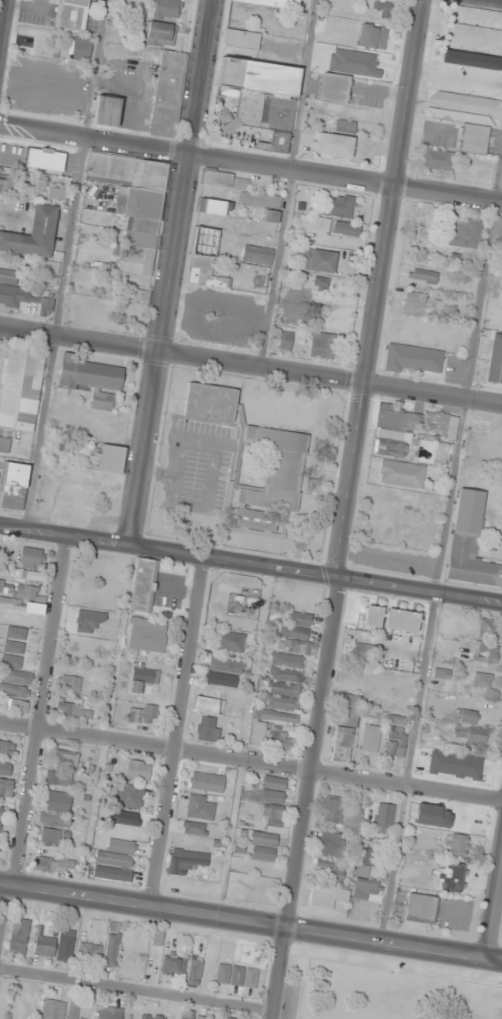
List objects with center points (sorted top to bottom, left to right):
building: (273, 3)
road: (0, 4)
building: (166, 9)
building: (382, 9)
building: (72, 14)
building: (476, 15)
building: (156, 33)
building: (373, 37)
building: (473, 38)
building: (241, 39)
building: (81, 49)
building: (467, 58)
building: (335, 88)
building: (168, 94)
building: (467, 100)
building: (107, 112)
building: (346, 126)
building: (468, 130)
building: (333, 145)
building: (46, 160)
building: (437, 160)
road: (250, 163)
building: (217, 179)
road: (287, 182)
building: (262, 204)
building: (133, 206)
building: (336, 206)
building: (213, 207)
building: (346, 229)
building: (33, 234)
building: (464, 235)
building: (257, 255)
building: (316, 260)
road: (63, 265)
building: (203, 272)
road: (168, 273)
building: (424, 275)
road: (376, 288)
building: (22, 295)
building: (501, 300)
road: (216, 301)
building: (414, 304)
parking lot: (221, 316)
building: (99, 318)
road: (212, 329)
building: (285, 340)
building: (322, 345)
building: (413, 358)
building: (495, 359)
road: (251, 363)
building: (88, 374)
building: (19, 386)
building: (103, 402)
building: (210, 402)
building: (416, 421)
building: (4, 444)
building: (392, 447)
building: (111, 459)
building: (401, 474)
building: (269, 480)
building: (13, 484)
building: (198, 524)
road: (63, 538)
building: (469, 543)
road: (440, 548)
building: (32, 557)
road: (314, 574)
building: (31, 576)
traffic signals: (343, 579)
building: (143, 586)
building: (20, 591)
building: (21, 606)
building: (372, 616)
building: (401, 620)
building: (296, 627)
building: (488, 627)
building: (147, 635)
building: (15, 640)
building: (230, 641)
building: (361, 652)
building: (298, 653)
building: (485, 653)
building: (13, 661)
building: (226, 665)
building: (440, 673)
building: (285, 675)
building: (143, 677)
building: (225, 680)
building: (482, 680)
building: (17, 683)
building: (69, 683)
building: (284, 689)
building: (281, 703)
building: (206, 705)
building: (73, 711)
building: (144, 714)
building: (466, 716)
building: (344, 728)
building: (208, 729)
road: (178, 732)
building: (473, 734)
building: (257, 735)
building: (370, 738)
building: (395, 740)
building: (281, 741)
road: (34, 746)
building: (7, 747)
road: (315, 753)
building: (67, 759)
road: (251, 760)
building: (5, 767)
building: (139, 771)
building: (58, 778)
building: (207, 782)
building: (6, 788)
building: (273, 790)
building: (130, 797)
building: (59, 801)
building: (200, 807)
building: (341, 814)
building: (0, 815)
building: (273, 816)
building: (54, 820)
building: (385, 824)
building: (194, 828)
building: (50, 836)
building: (331, 844)
building: (456, 845)
building: (263, 846)
building: (114, 860)
building: (187, 861)
building: (54, 864)
building: (331, 870)
building: (365, 876)
building: (451, 878)
building: (326, 896)
road: (144, 906)
building: (421, 908)
road: (495, 914)
building: (20, 936)
road: (395, 944)
building: (65, 945)
building: (45, 946)
building: (90, 952)
building: (110, 955)
building: (173, 966)
building: (195, 972)
road: (281, 973)
building: (237, 975)
road: (138, 991)
building: (109, 1013)
building: (189, 1015)
building: (147, 1017)
building: (230, 1018)

